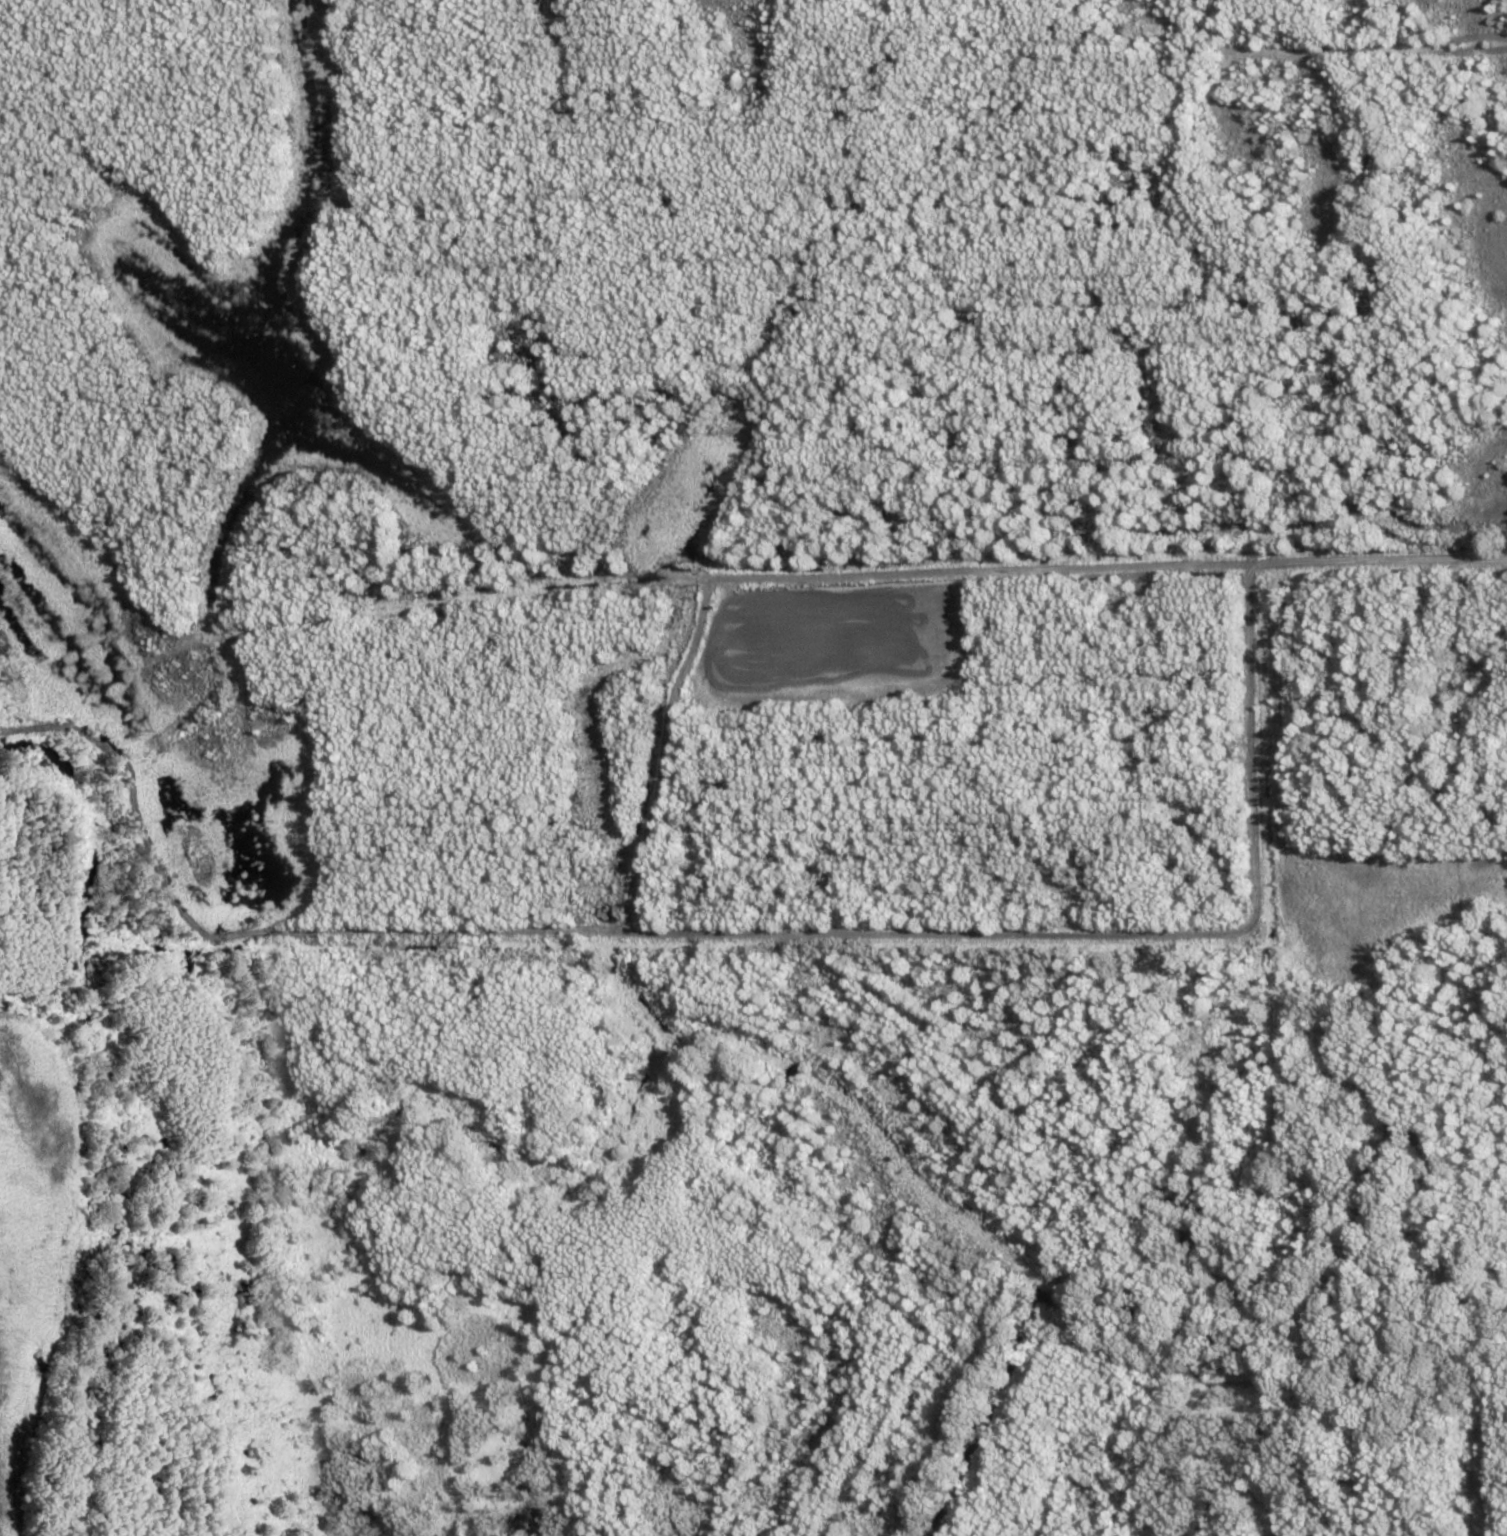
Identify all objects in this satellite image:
road: (542, 563)
road: (34, 567)

